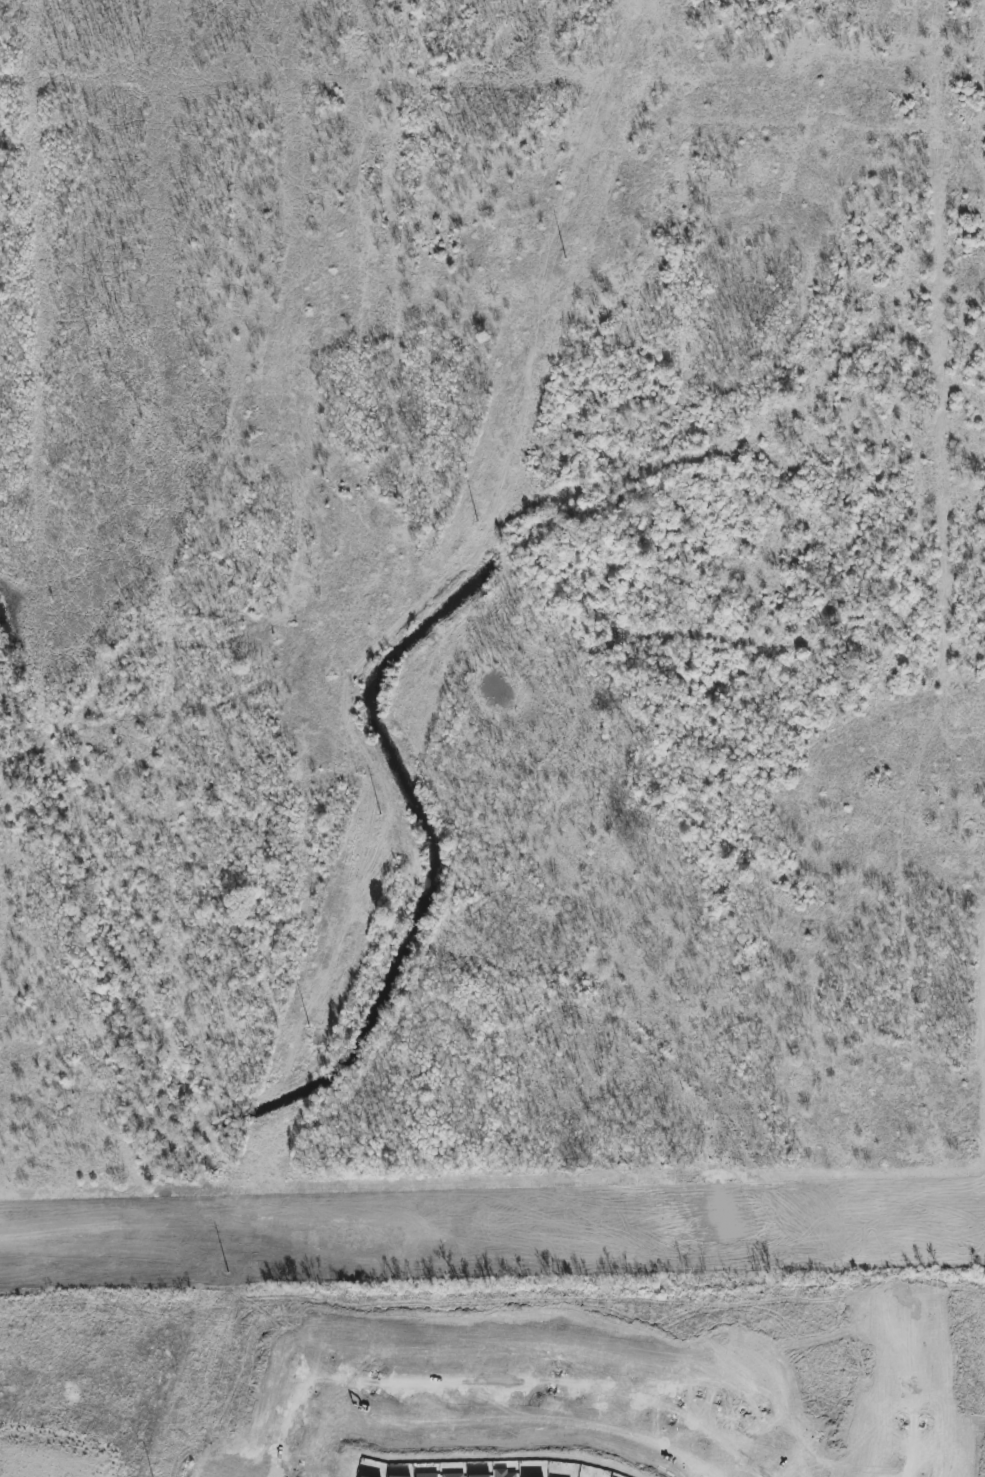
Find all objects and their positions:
road: (650, 1210)
road: (158, 1236)
road: (651, 1254)
road: (159, 1268)
road: (740, 1382)
road: (307, 1385)
road: (550, 1385)
road: (912, 1399)
building: (504, 1473)
building: (427, 1475)
building: (453, 1475)
building: (397, 1476)
building: (480, 1476)

